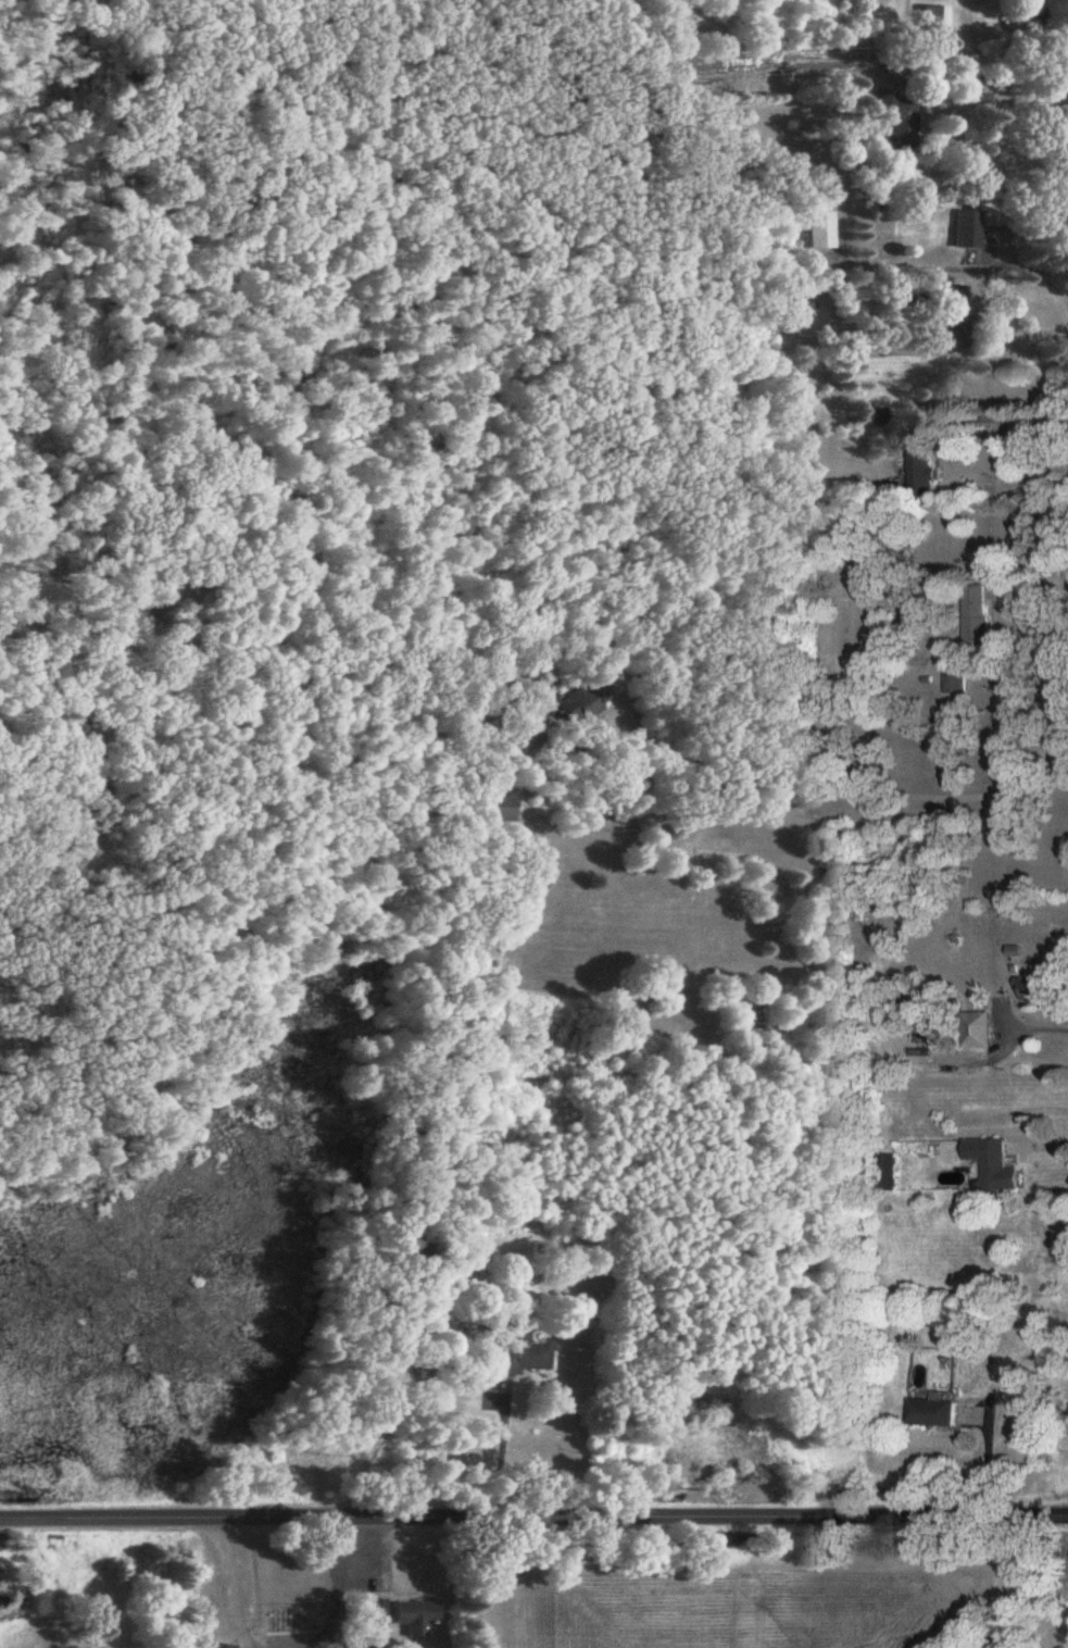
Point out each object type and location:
building: (937, 23)
road: (990, 72)
building: (897, 124)
building: (822, 230)
building: (967, 230)
road: (947, 270)
building: (956, 317)
road: (1026, 330)
building: (925, 465)
road: (1002, 485)
road: (1030, 590)
building: (978, 619)
building: (956, 685)
building: (581, 706)
road: (743, 789)
building: (501, 809)
building: (1039, 991)
road: (1034, 1028)
building: (981, 1029)
building: (1000, 1172)
building: (467, 1246)
building: (524, 1353)
building: (391, 1378)
building: (934, 1414)
road: (501, 1458)
road: (533, 1516)
road: (341, 1586)
road: (216, 1590)
building: (370, 1613)
building: (418, 1618)
building: (218, 1647)

